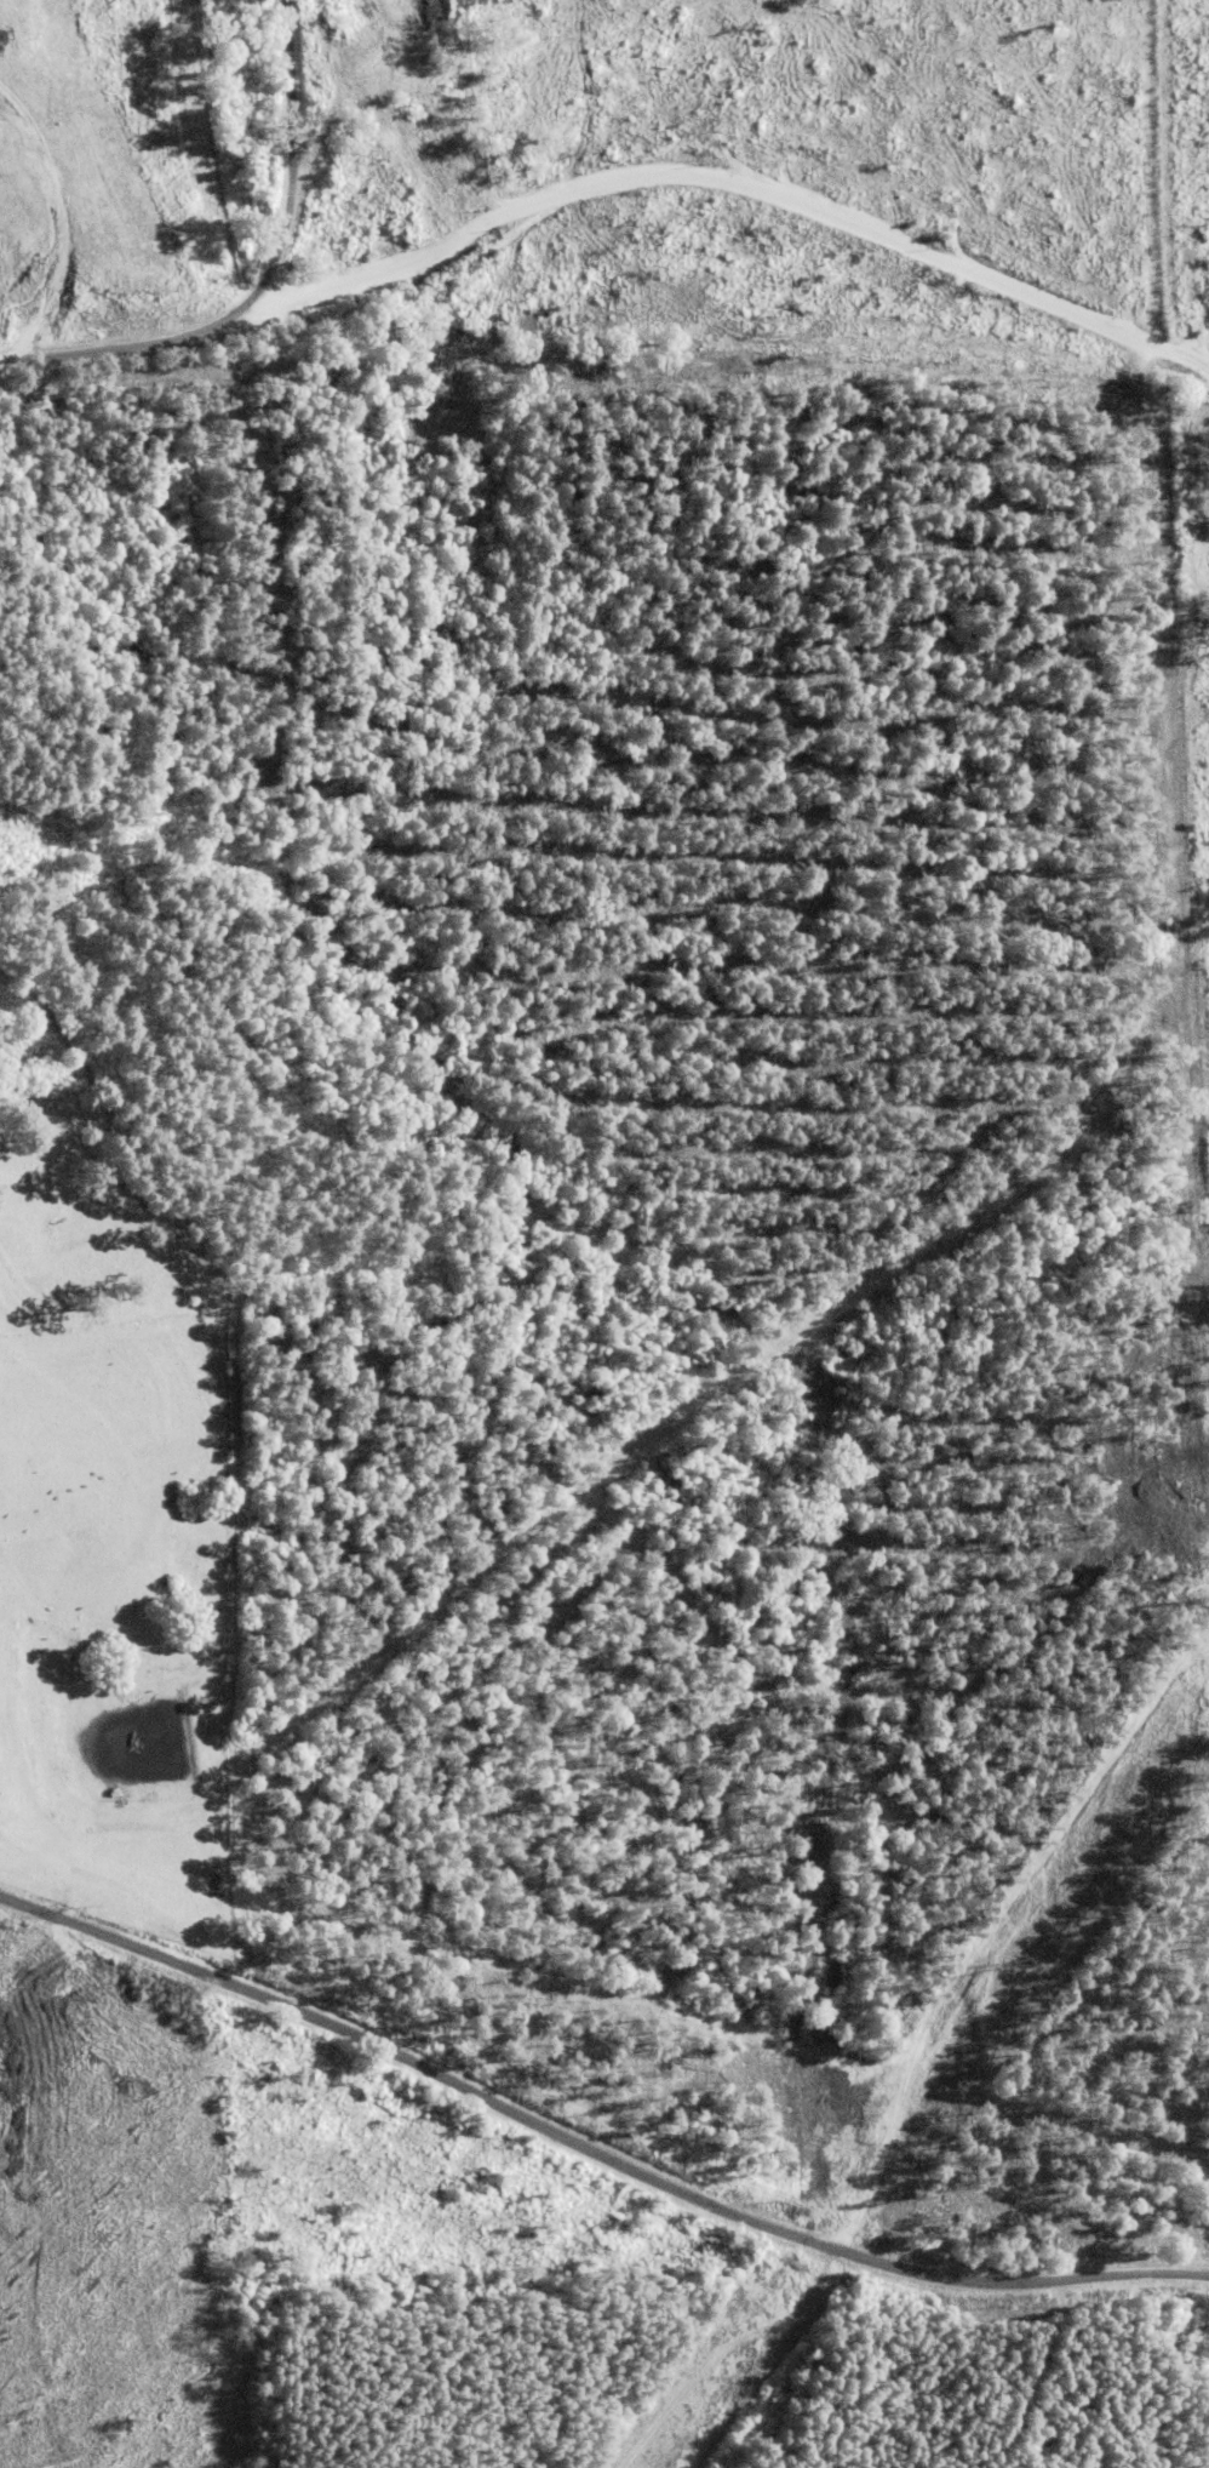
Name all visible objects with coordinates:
road: (219, 239)
power tower: (993, 1959)
road: (390, 2055)
road: (989, 2279)

